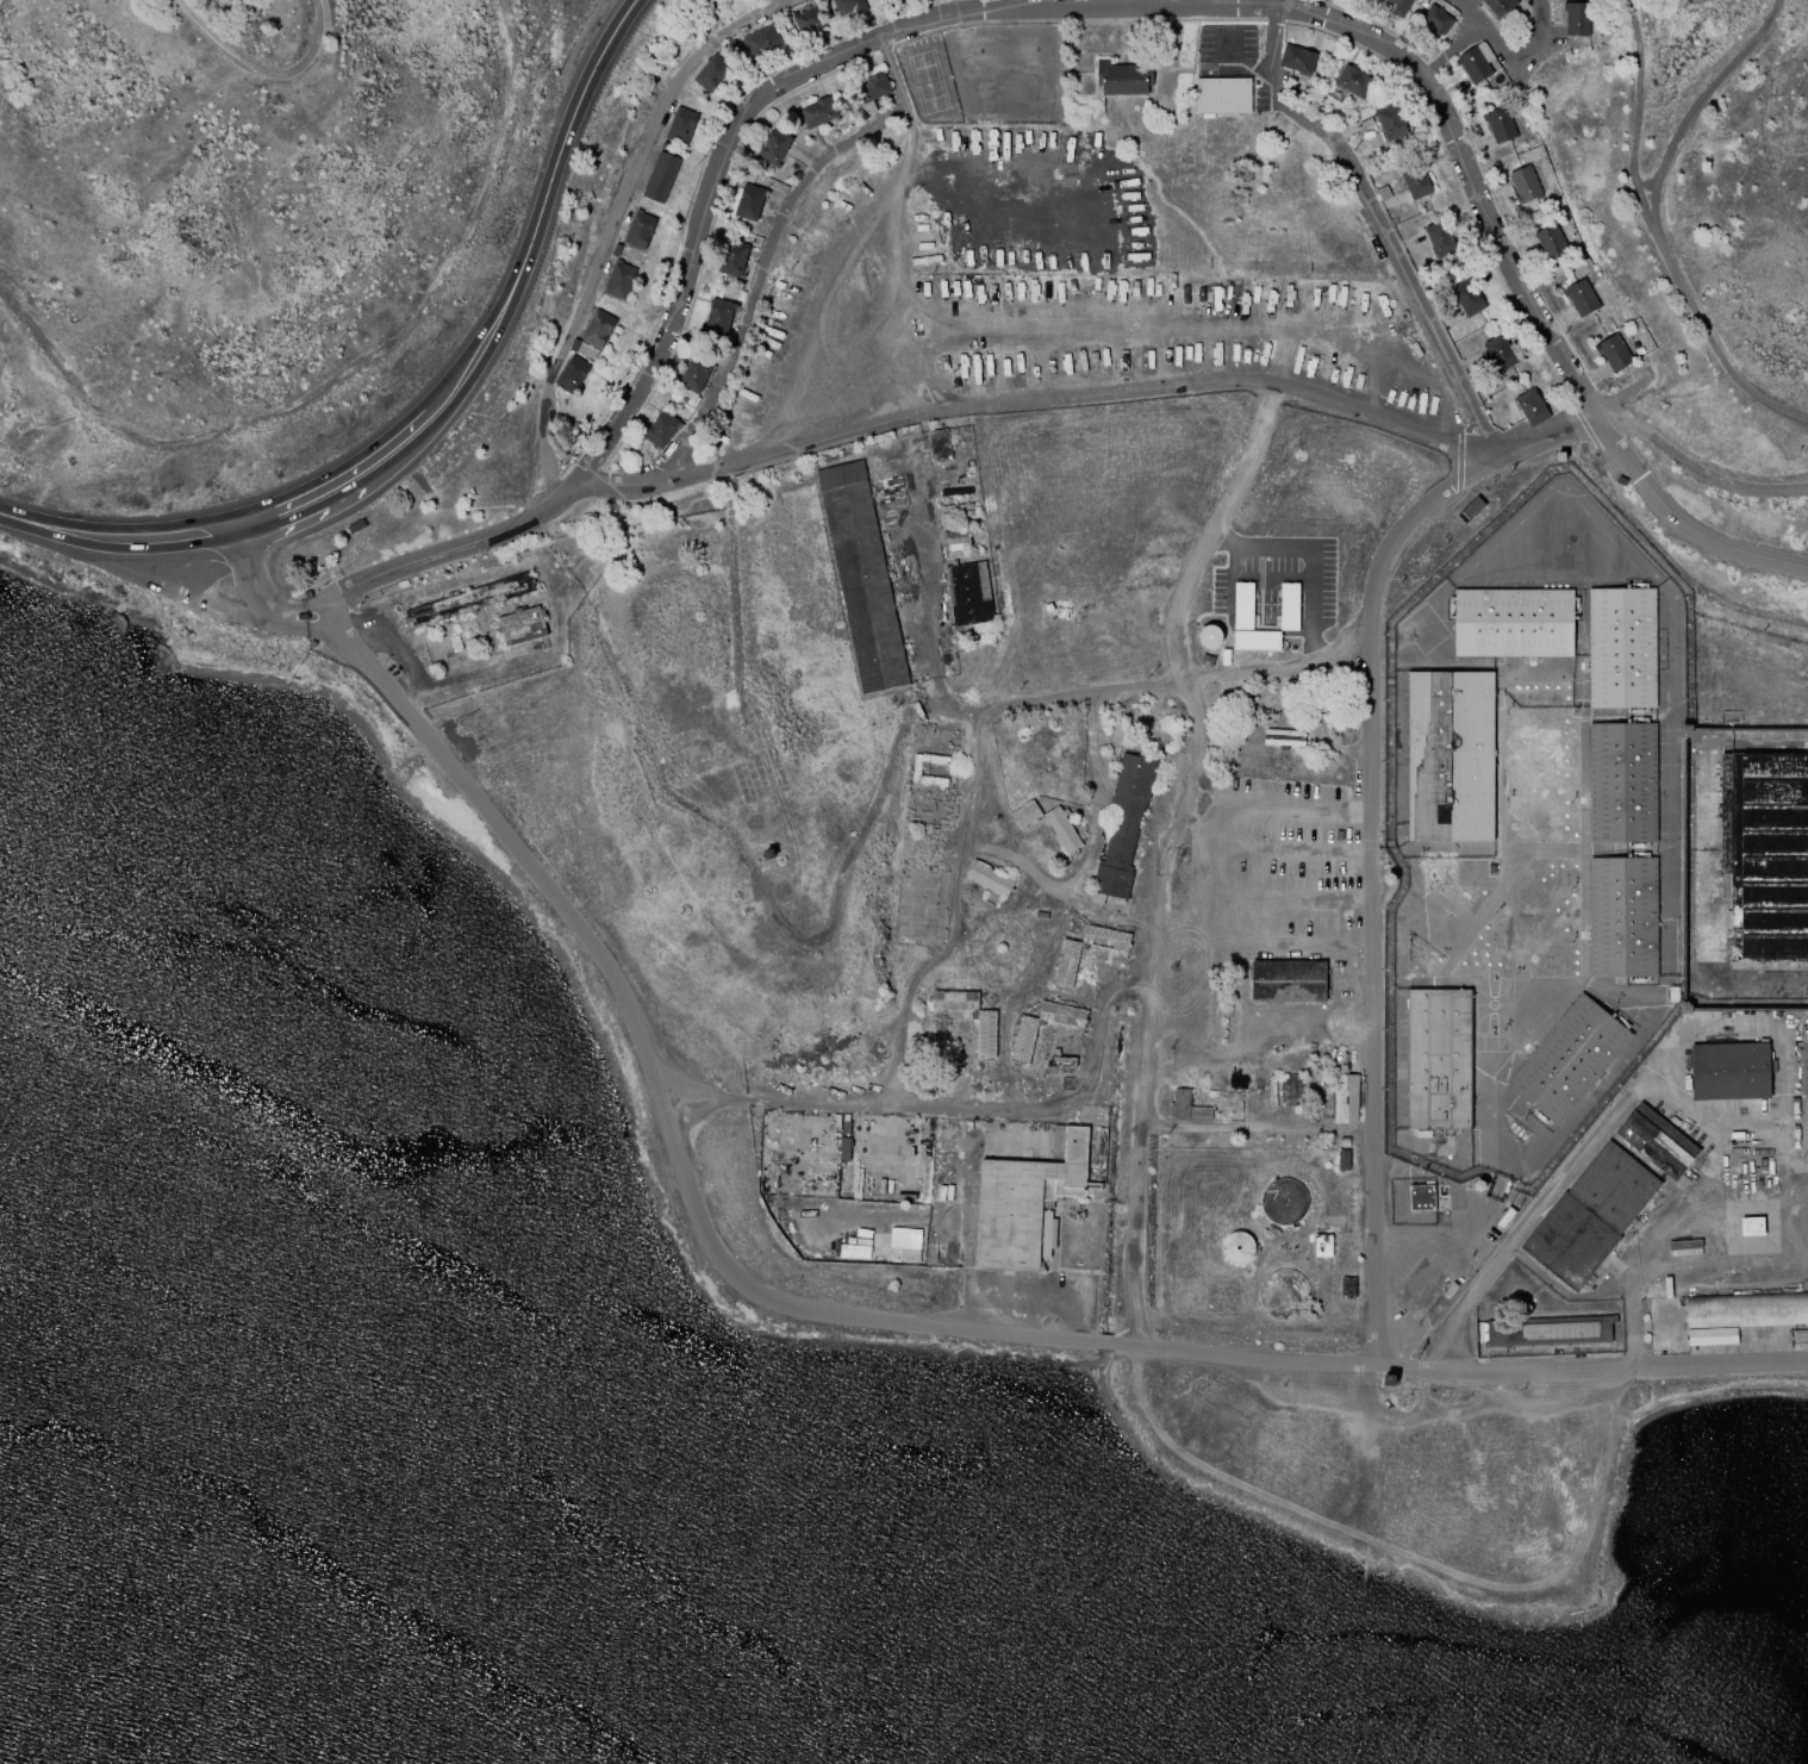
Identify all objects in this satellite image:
road: (1130, 5)
building: (848, 6)
road: (962, 6)
building: (1498, 6)
building: (1399, 7)
road: (1048, 10)
building: (1576, 17)
building: (810, 18)
building: (1436, 20)
building: (760, 40)
building: (1298, 58)
building: (1476, 62)
road: (1513, 62)
road: (1228, 67)
road: (278, 73)
building: (711, 73)
building: (1121, 77)
building: (1354, 81)
building: (871, 91)
building: (1222, 95)
building: (818, 112)
building: (1391, 121)
road: (1636, 121)
building: (1501, 124)
building: (681, 125)
building: (774, 145)
building: (660, 176)
building: (1415, 180)
building: (1525, 183)
building: (750, 201)
road: (1377, 220)
road: (612, 224)
road: (1654, 224)
building: (638, 227)
building: (1440, 238)
building: (1551, 242)
road: (766, 253)
building: (734, 258)
road: (840, 266)
building: (618, 279)
building: (1582, 297)
building: (1469, 298)
building: (719, 316)
building: (598, 328)
road: (1049, 335)
building: (1614, 351)
building: (1500, 353)
building: (572, 373)
building: (696, 374)
road: (350, 376)
road: (933, 382)
road: (1037, 401)
building: (1532, 407)
road: (428, 412)
building: (662, 429)
building: (939, 445)
building: (1560, 457)
building: (1621, 480)
building: (1471, 510)
road: (239, 541)
building: (962, 542)
road: (1309, 551)
building: (861, 576)
building: (306, 594)
building: (967, 596)
road: (261, 600)
building: (467, 600)
building: (1289, 605)
building: (301, 616)
building: (1249, 623)
building: (1511, 623)
building: (520, 625)
building: (1209, 635)
building: (311, 643)
road: (929, 644)
building: (1623, 649)
road: (1176, 681)
road: (1370, 713)
building: (1283, 737)
building: (1452, 755)
building: (915, 772)
building: (1622, 784)
building: (1025, 814)
building: (1124, 824)
building: (1061, 829)
building: (1339, 835)
road: (1086, 840)
road: (1167, 852)
building: (1764, 852)
building: (989, 879)
building: (1389, 879)
building: (1622, 916)
road: (953, 923)
building: (1105, 937)
building: (1067, 962)
building: (1289, 980)
building: (954, 999)
park: (1496, 1005)
building: (1062, 1014)
building: (986, 1033)
building: (1024, 1039)
road: (1257, 1054)
building: (1436, 1059)
building: (1567, 1060)
building: (1731, 1071)
building: (1346, 1098)
building: (1180, 1103)
road: (946, 1112)
building: (1199, 1112)
building: (844, 1127)
building: (1657, 1143)
building: (844, 1148)
building: (1343, 1159)
building: (1421, 1197)
building: (1027, 1199)
building: (1284, 1201)
storage tank: (1284, 1201)
building: (1590, 1216)
building: (1751, 1227)
road: (705, 1234)
road: (1521, 1234)
building: (904, 1243)
building: (1323, 1243)
building: (1237, 1247)
storage tank: (1237, 1247)
building: (1684, 1248)
building: (1348, 1288)
building: (1746, 1311)
building: (1550, 1332)
road: (1609, 1370)
building: (1390, 1379)

